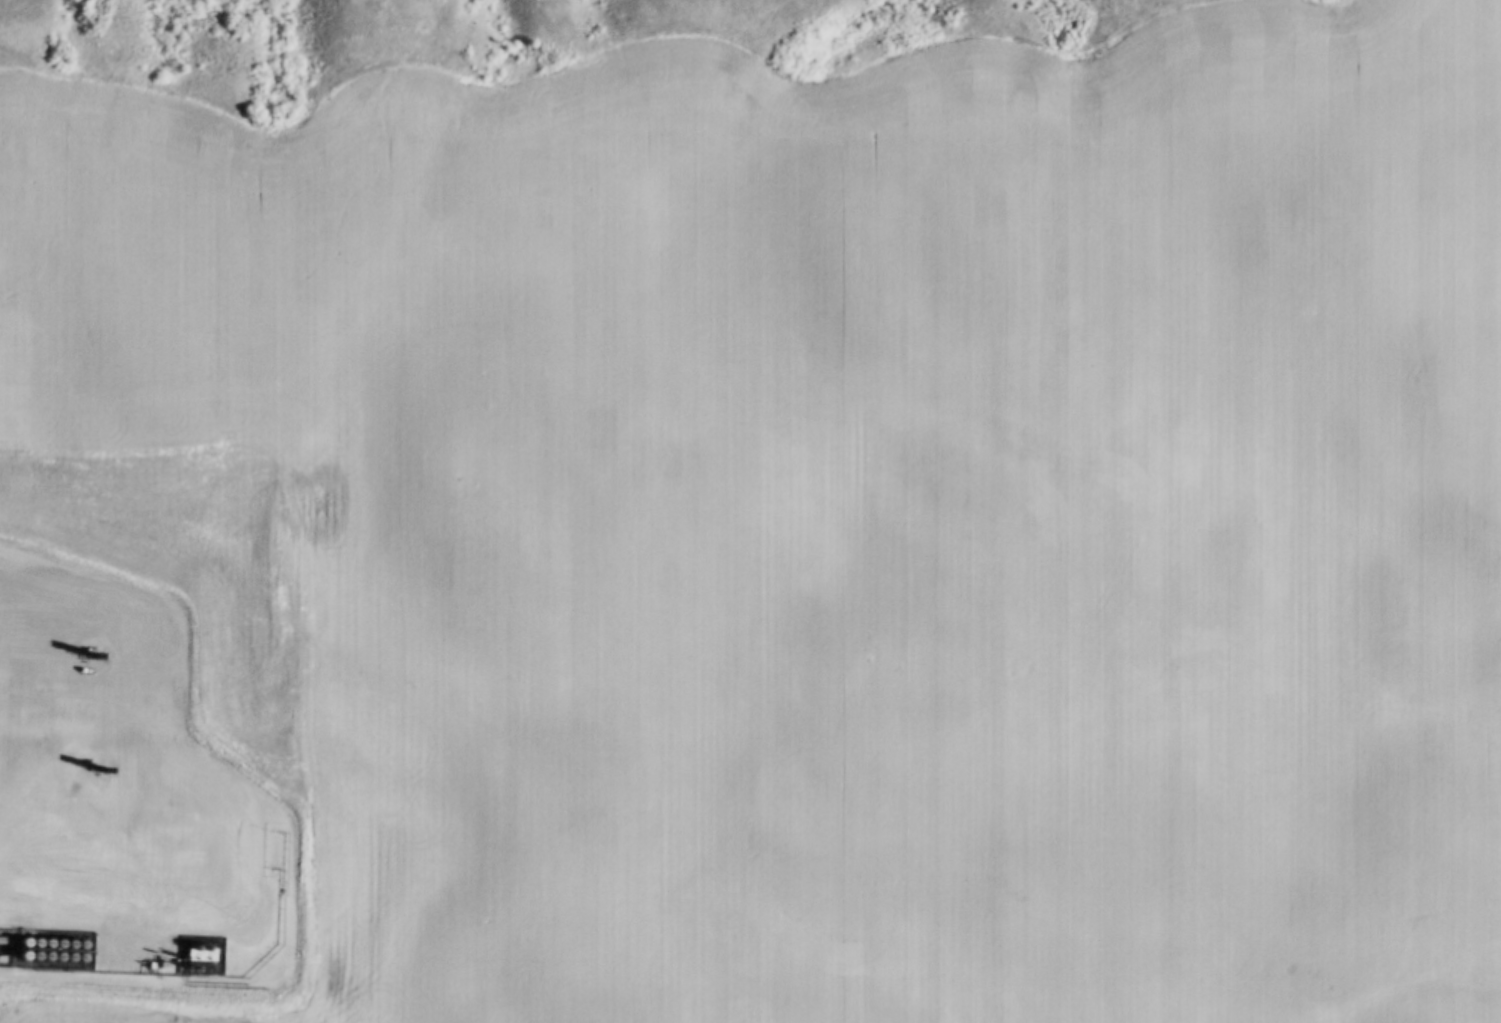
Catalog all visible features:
petroleum well: (88, 767)
building: (220, 921)
building: (3, 952)
storage tank: (3, 952)
building: (15, 952)
storage tank: (15, 952)
building: (27, 953)
storage tank: (27, 953)
building: (38, 953)
storage tank: (38, 953)
building: (49, 953)
storage tank: (49, 953)
building: (72, 954)
storage tank: (72, 954)
building: (61, 955)
storage tank: (61, 955)

